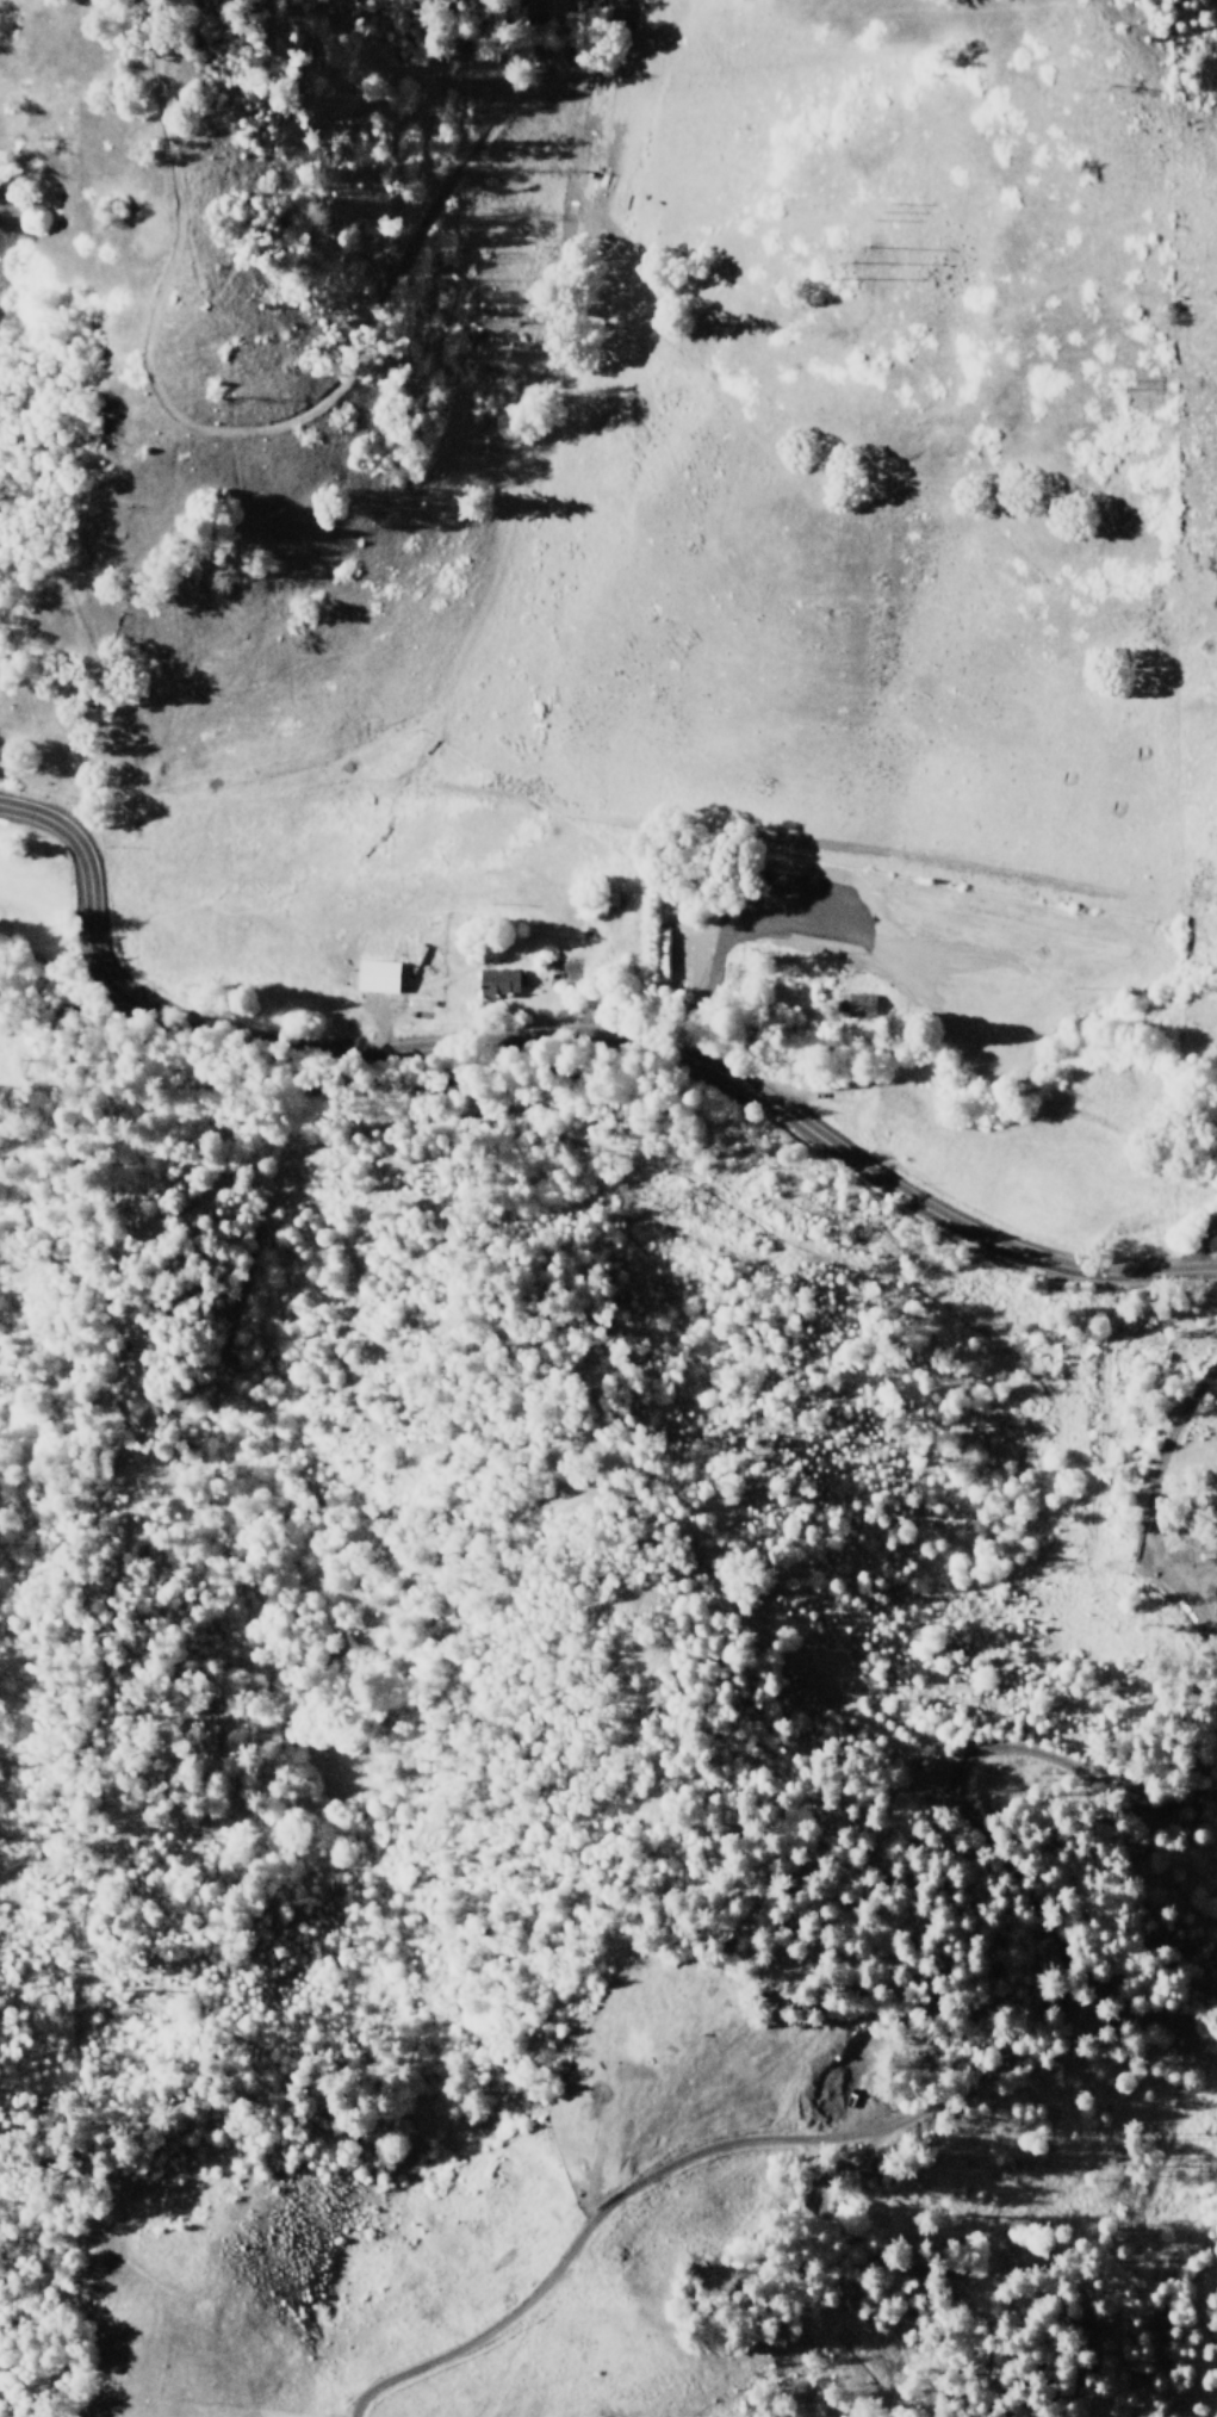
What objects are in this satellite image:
power tower: (838, 264)
building: (378, 975)
building: (497, 981)
road: (567, 1027)
road: (1039, 1921)

